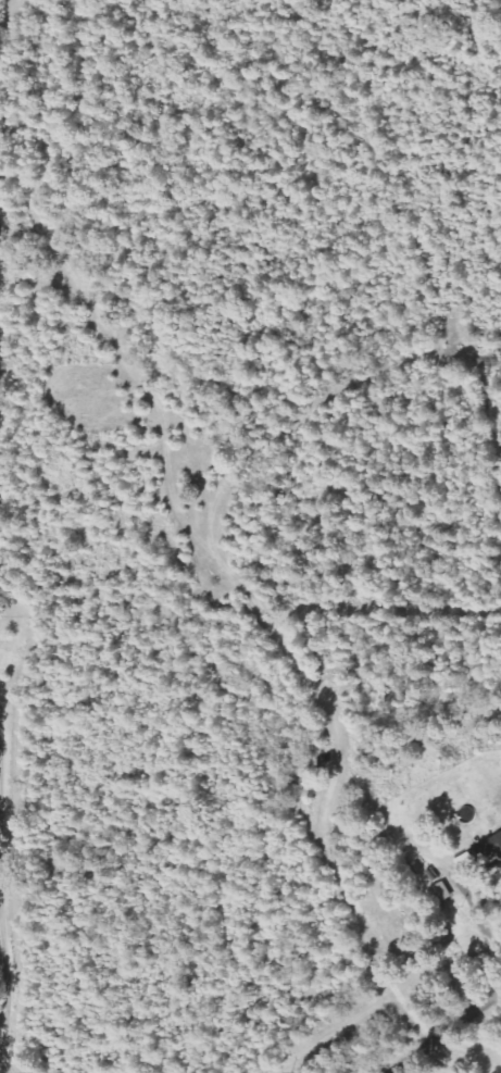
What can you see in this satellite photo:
building: (480, 856)
building: (440, 894)
road: (452, 1023)

